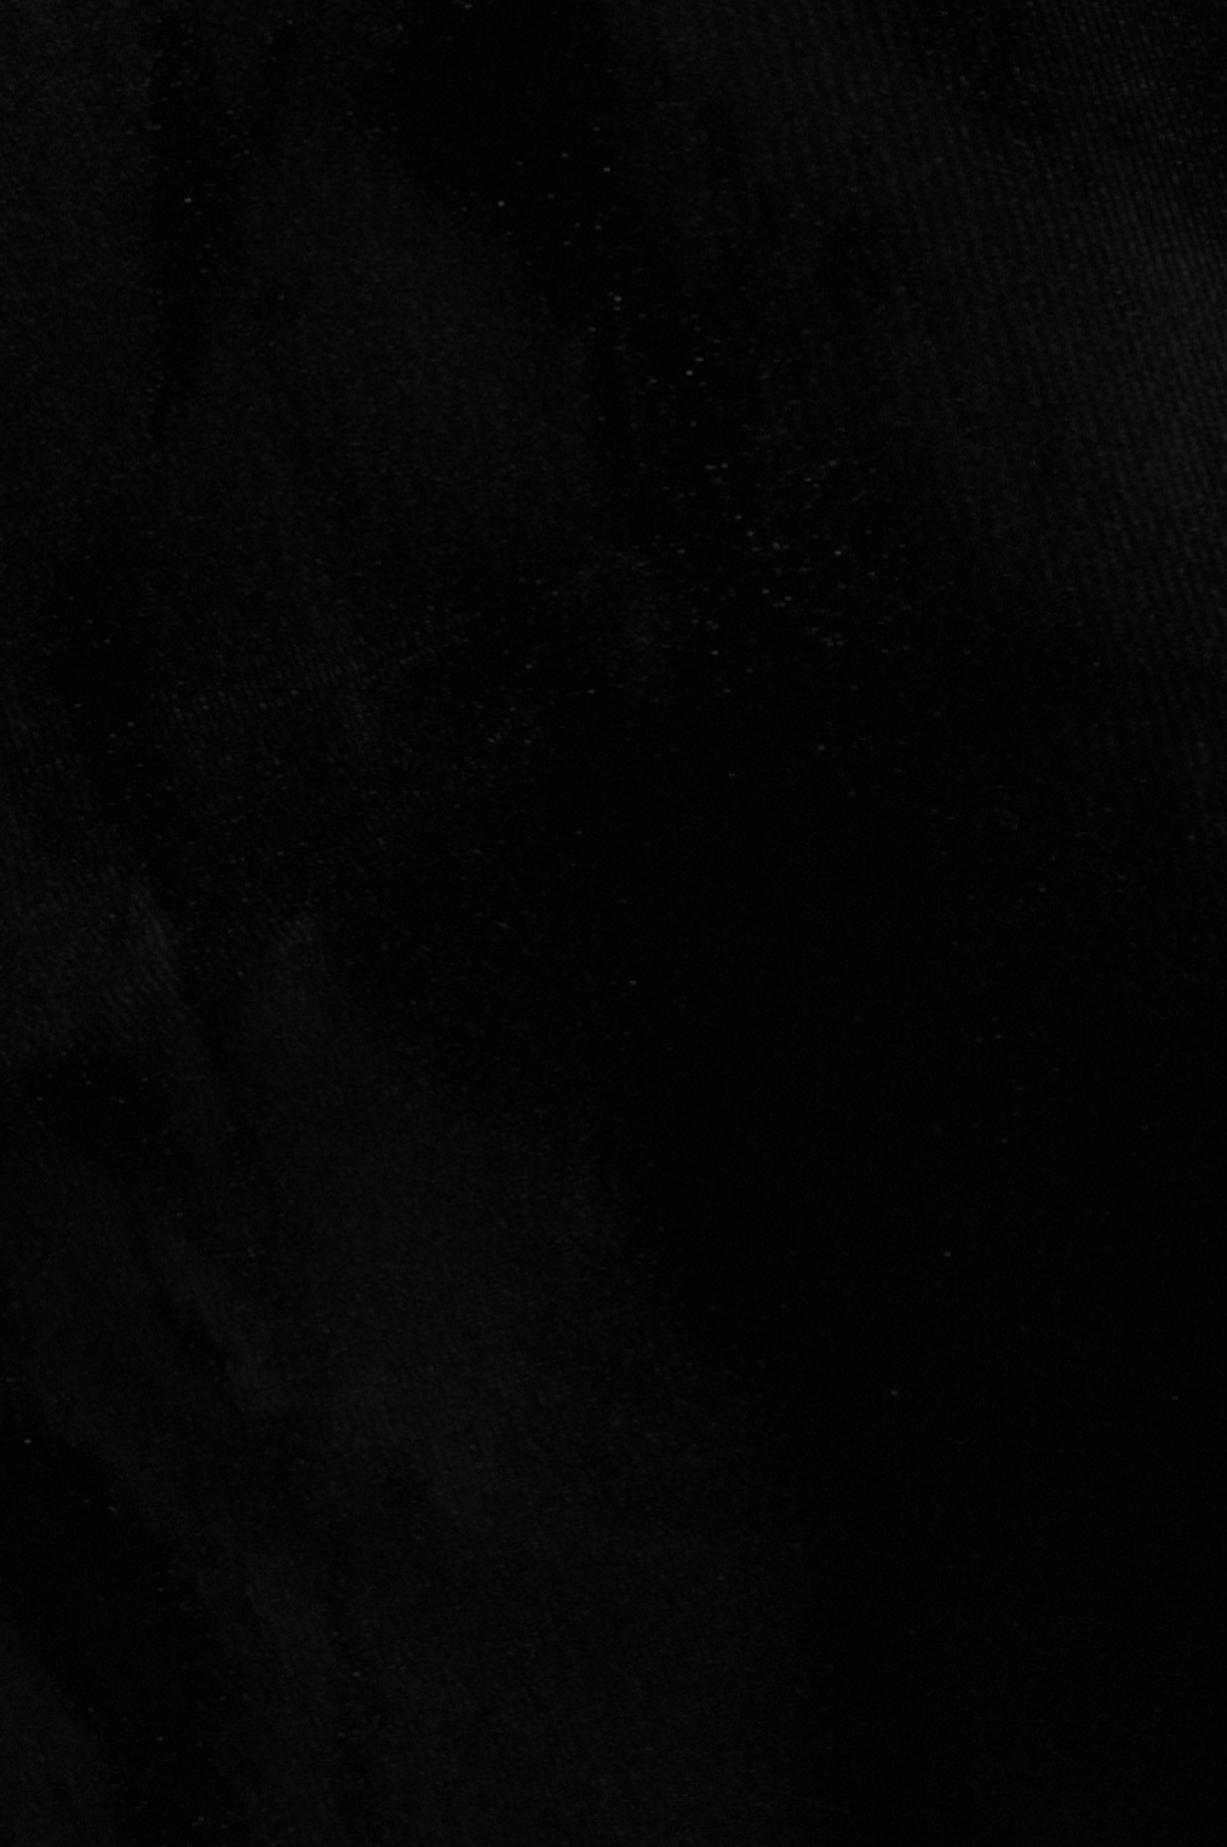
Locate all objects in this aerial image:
river: (940, 699)

